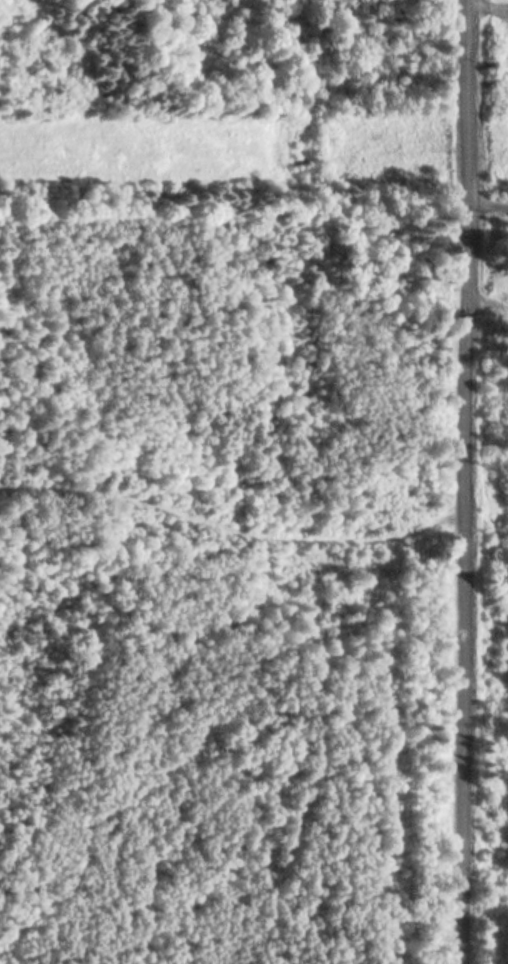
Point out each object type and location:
road: (463, 482)

